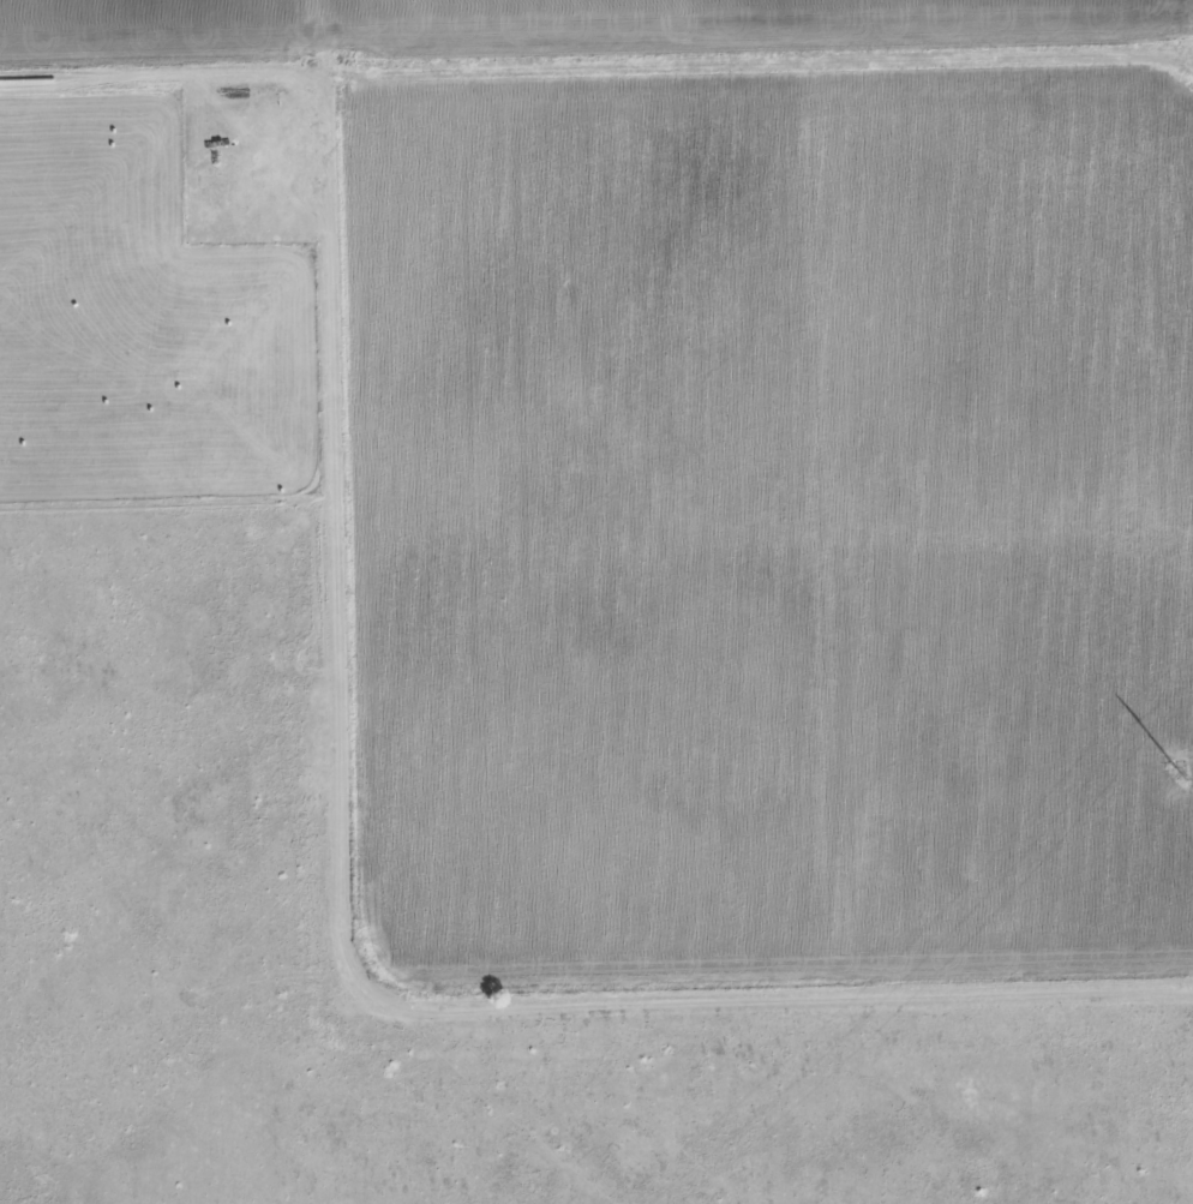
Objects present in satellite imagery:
power tower: (1182, 769)

